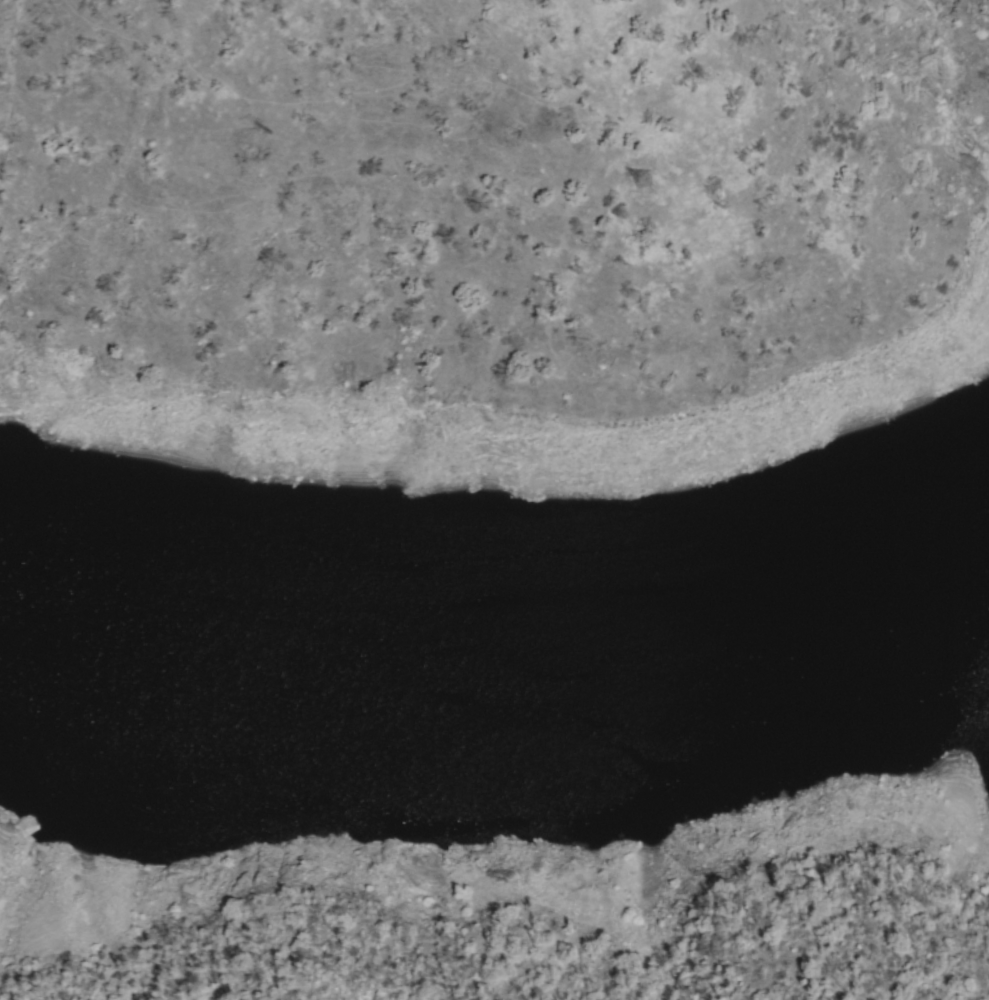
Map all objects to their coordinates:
power tower: (234, 129)
power tower: (604, 175)
river: (918, 608)
river: (54, 663)
river: (627, 680)
river: (254, 696)

